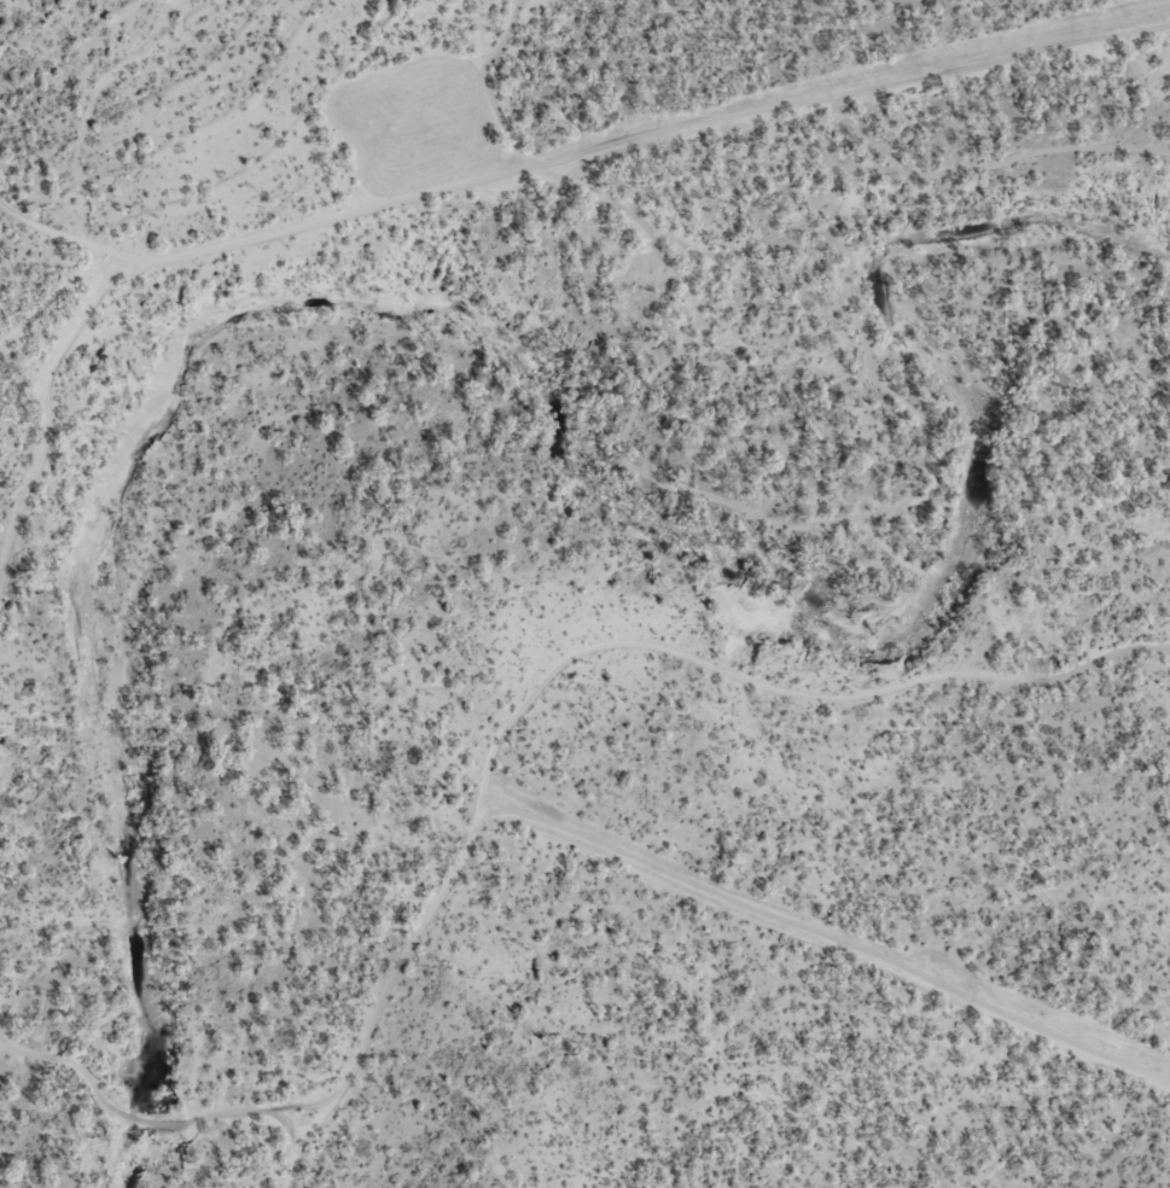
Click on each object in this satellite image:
road: (211, 251)

